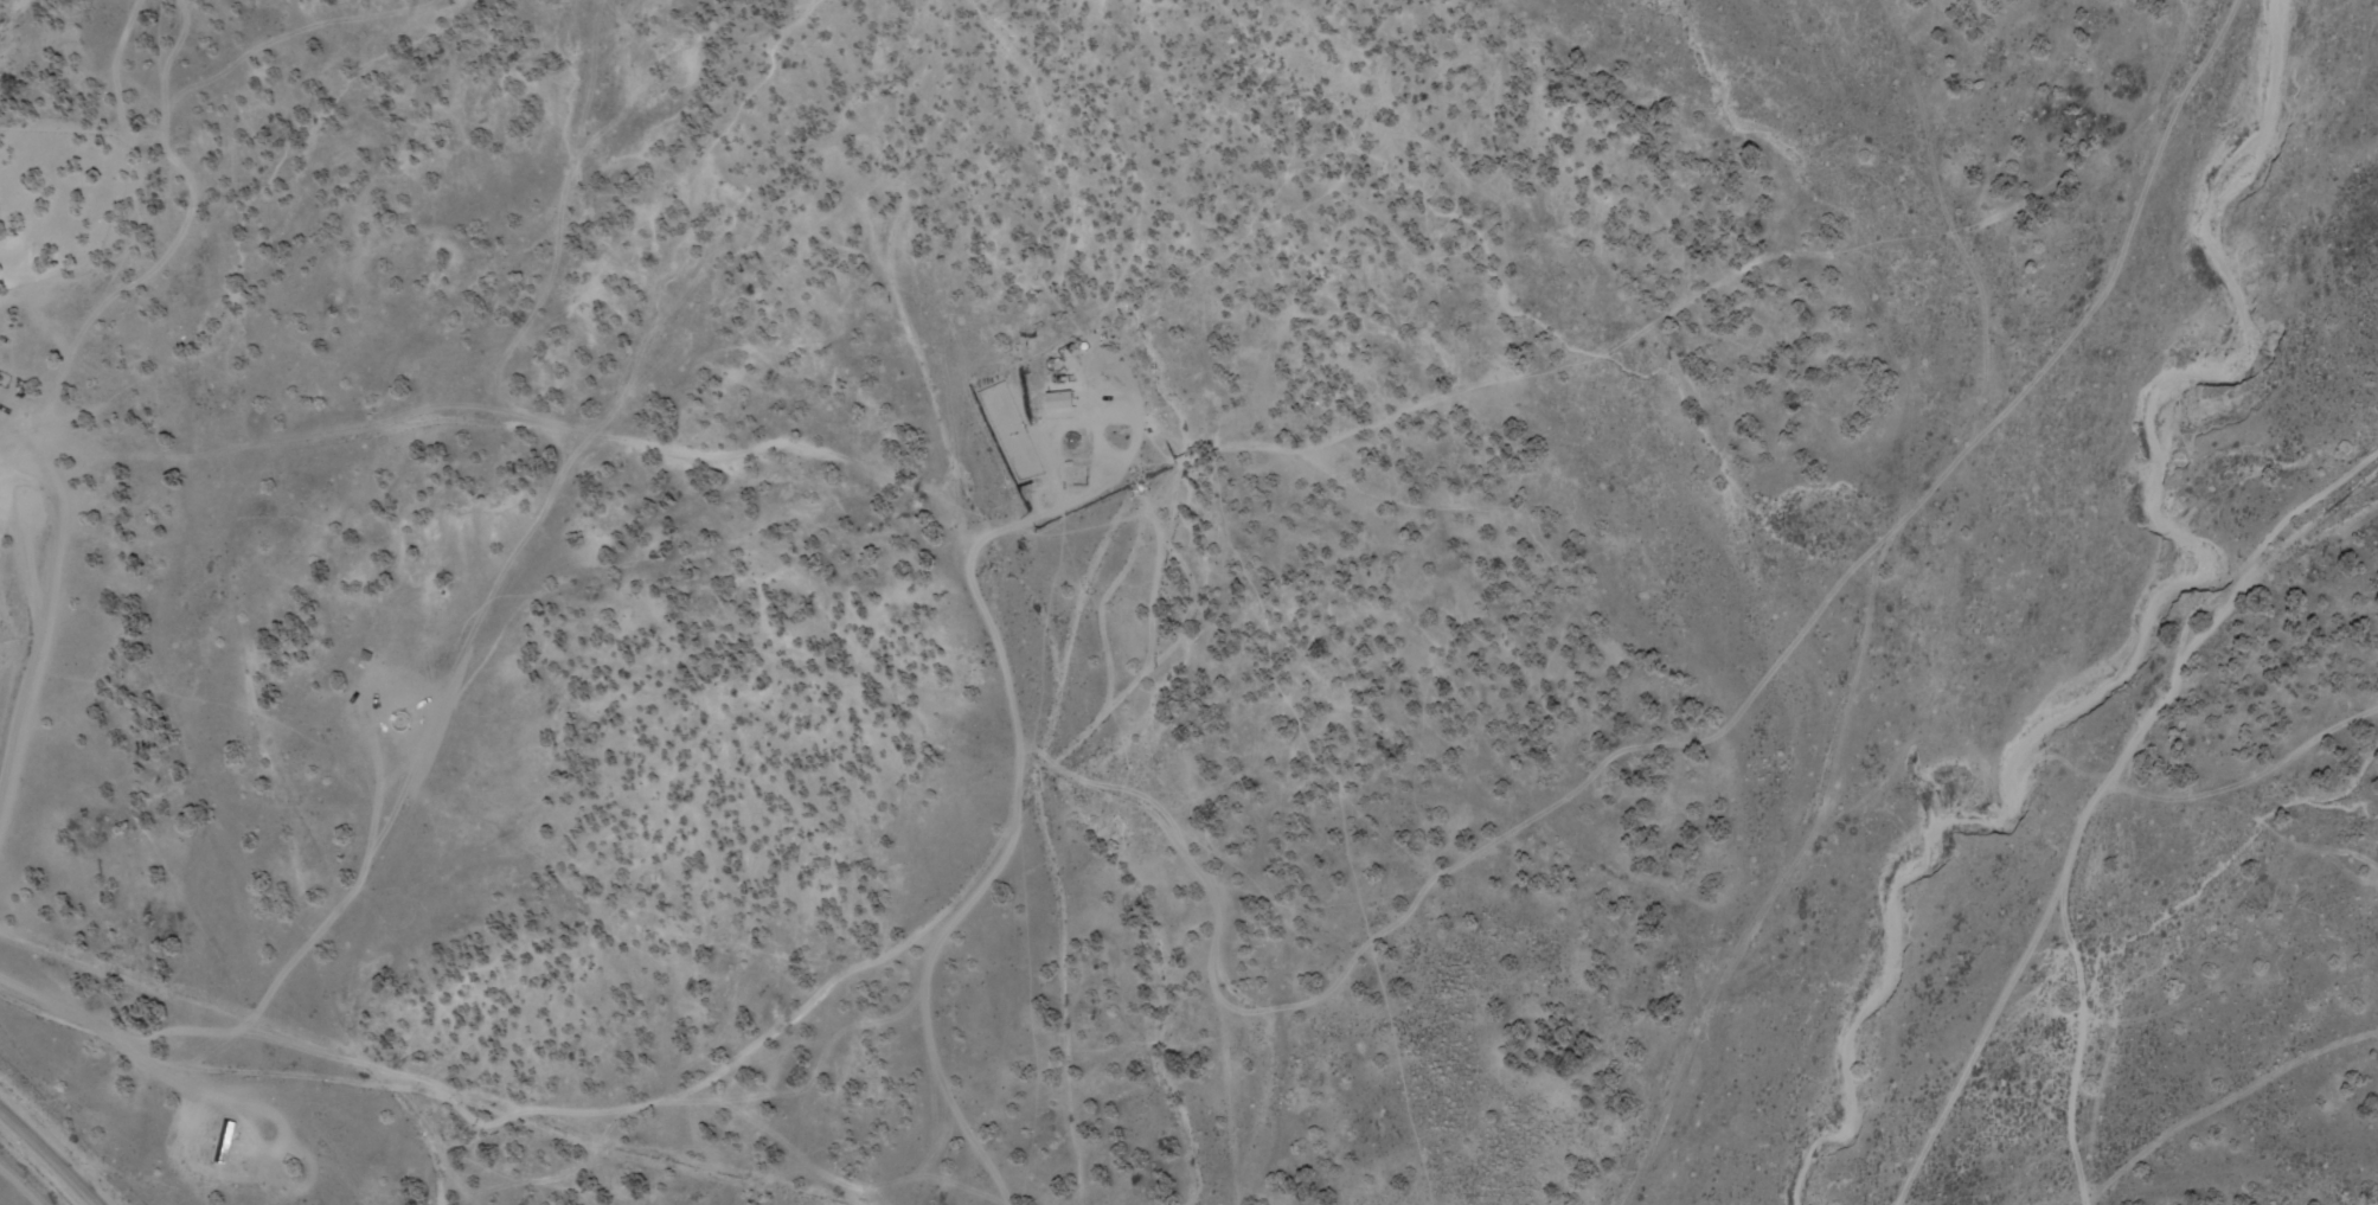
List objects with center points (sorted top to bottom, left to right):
road: (1861, 570)
road: (9, 604)
road: (2103, 781)
road: (50, 1156)
road: (2060, 1171)

